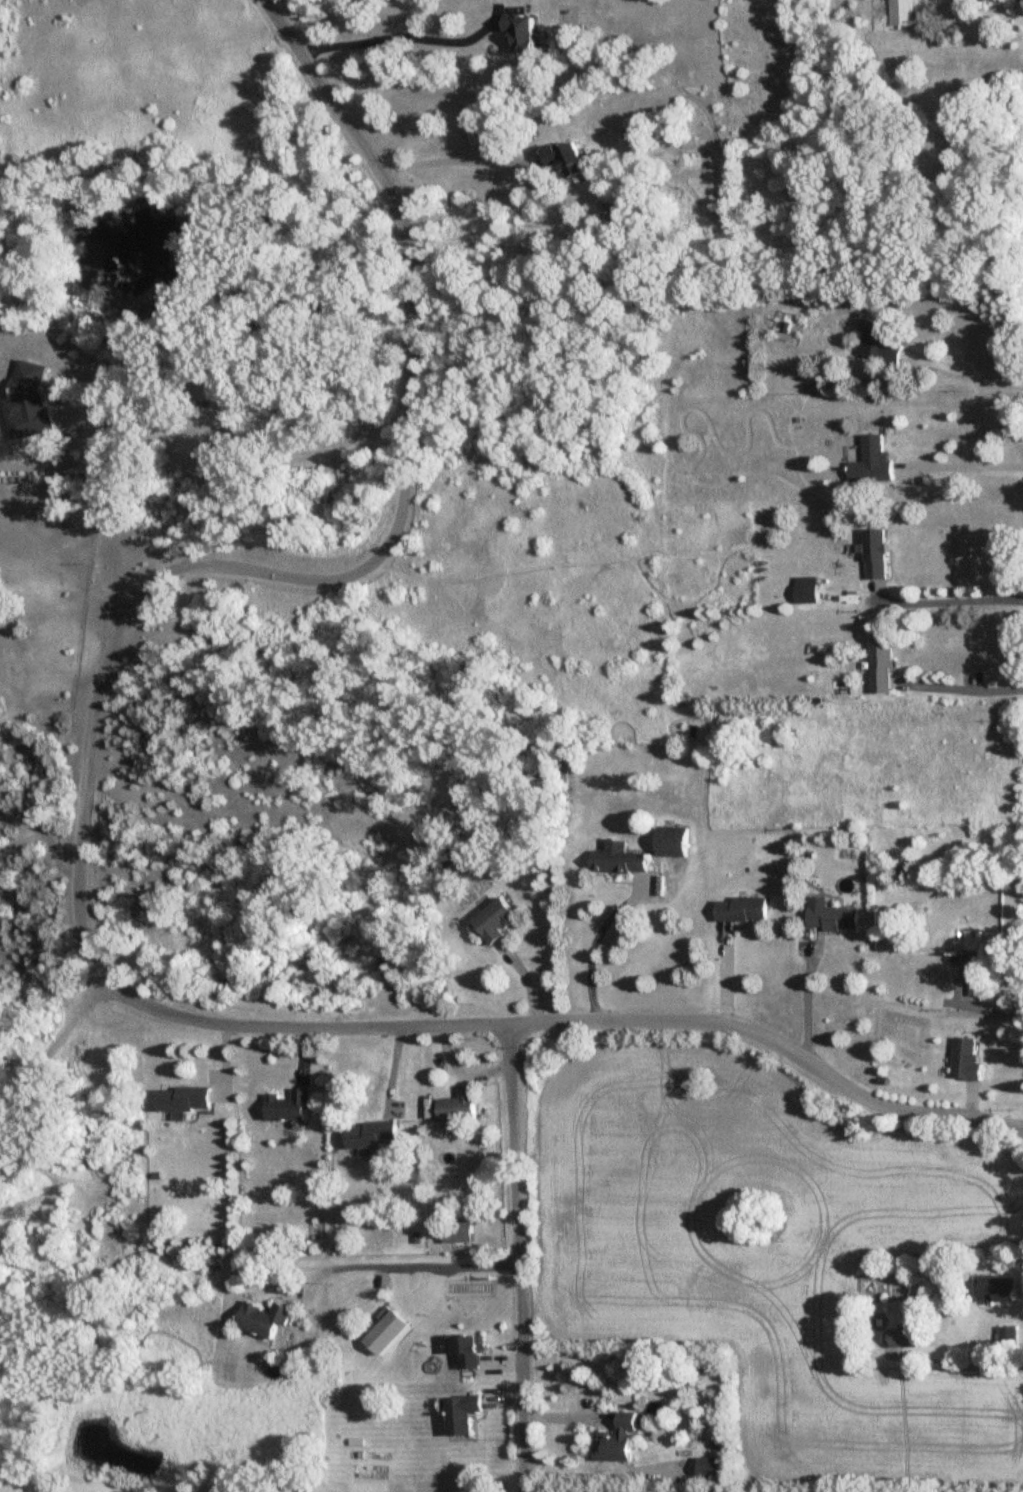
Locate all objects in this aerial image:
road: (497, 12)
building: (901, 13)
building: (525, 31)
road: (404, 36)
building: (572, 159)
road: (456, 160)
road: (542, 160)
building: (880, 343)
road: (969, 374)
building: (30, 402)
road: (407, 412)
road: (230, 444)
building: (874, 462)
road: (961, 466)
building: (881, 555)
building: (809, 592)
road: (943, 602)
building: (883, 668)
road: (966, 688)
building: (675, 841)
building: (621, 859)
building: (744, 909)
building: (837, 918)
building: (497, 920)
building: (986, 942)
road: (593, 946)
building: (977, 987)
road: (970, 1005)
road: (809, 1006)
road: (313, 1022)
road: (52, 1045)
building: (969, 1059)
building: (186, 1098)
building: (460, 1104)
building: (290, 1105)
building: (374, 1134)
building: (457, 1232)
road: (514, 1258)
road: (401, 1265)
building: (1001, 1288)
building: (268, 1319)
building: (388, 1332)
building: (904, 1336)
building: (473, 1352)
building: (1, 1370)
building: (464, 1414)
building: (620, 1439)
building: (712, 1468)

